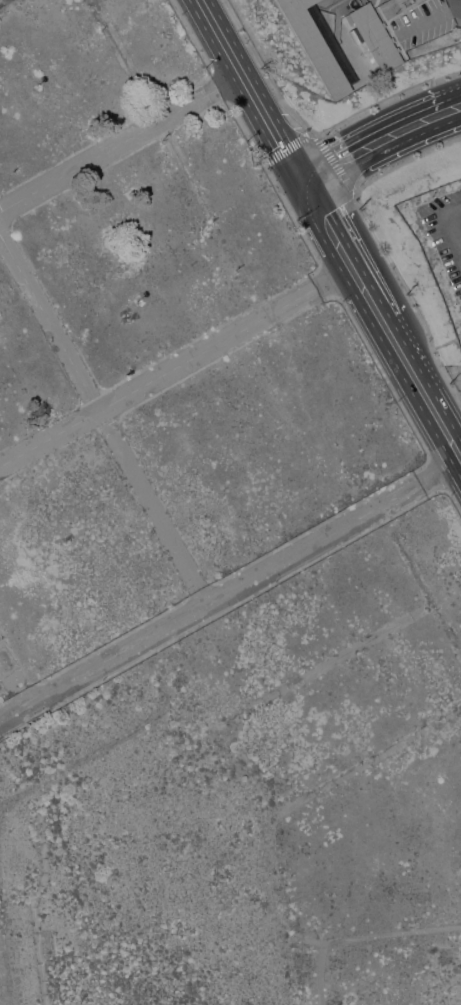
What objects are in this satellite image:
building: (417, 0)
building: (399, 1)
park: (4, 2)
road: (430, 19)
building: (377, 36)
building: (320, 45)
road: (230, 80)
road: (251, 85)
road: (386, 99)
road: (397, 123)
road: (417, 138)
road: (319, 139)
road: (108, 150)
road: (316, 161)
traffic signals: (299, 171)
road: (341, 173)
road: (304, 180)
traffic signals: (310, 190)
airport: (440, 239)
road: (347, 259)
road: (334, 277)
power substation: (456, 375)
road: (158, 377)
road: (424, 394)
road: (103, 419)
road: (230, 590)
road: (14, 678)
road: (111, 740)
road: (36, 895)
road: (361, 938)

